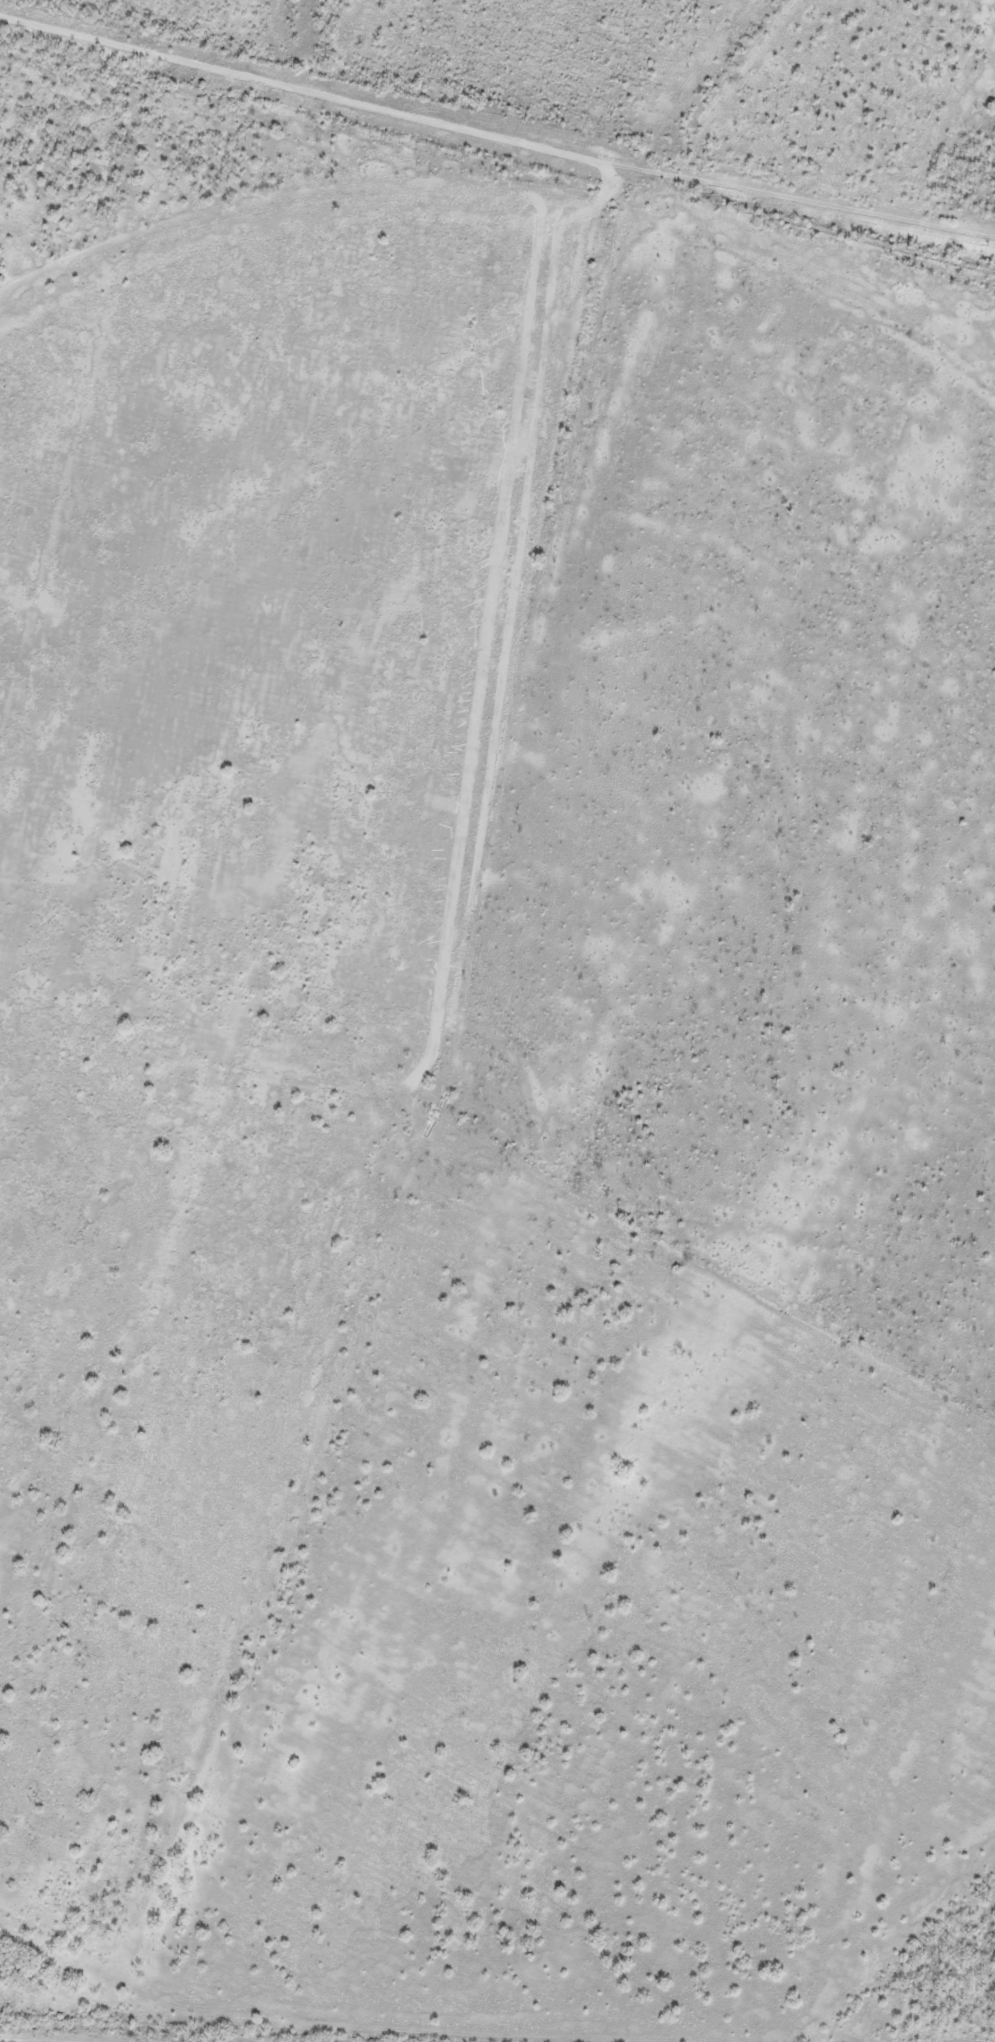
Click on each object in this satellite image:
road: (495, 133)
road: (4, 2041)

